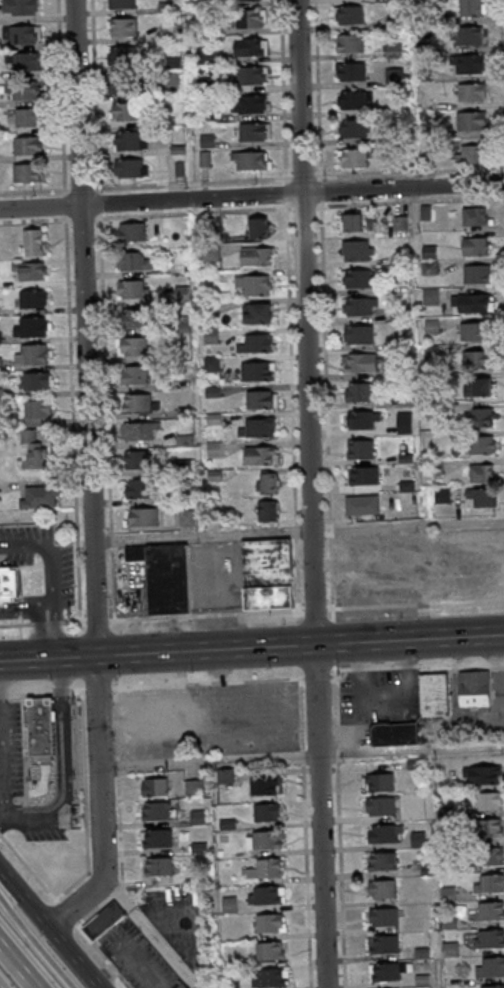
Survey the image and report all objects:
building: (248, 0)
building: (121, 4)
building: (20, 7)
building: (472, 8)
building: (350, 15)
building: (250, 18)
building: (122, 27)
building: (22, 34)
building: (470, 35)
road: (502, 39)
building: (350, 44)
building: (250, 47)
building: (394, 51)
building: (206, 55)
building: (124, 56)
building: (25, 61)
building: (470, 64)
building: (350, 72)
building: (252, 75)
building: (127, 84)
building: (22, 90)
road: (317, 90)
road: (282, 92)
building: (472, 92)
road: (96, 96)
road: (59, 98)
building: (354, 100)
building: (250, 104)
building: (126, 111)
building: (28, 117)
building: (472, 121)
building: (352, 128)
building: (253, 131)
building: (130, 141)
building: (29, 145)
building: (471, 154)
building: (355, 157)
building: (251, 160)
building: (133, 168)
road: (409, 172)
building: (28, 173)
road: (192, 183)
road: (34, 192)
road: (251, 196)
road: (461, 198)
road: (361, 203)
road: (193, 212)
building: (475, 216)
road: (34, 219)
building: (352, 222)
building: (259, 227)
building: (132, 233)
building: (32, 242)
building: (476, 246)
building: (358, 251)
building: (257, 256)
building: (133, 262)
building: (31, 270)
building: (182, 270)
building: (477, 274)
building: (357, 279)
building: (255, 285)
building: (133, 290)
building: (33, 299)
building: (473, 302)
building: (361, 307)
building: (258, 313)
building: (134, 318)
building: (31, 327)
building: (474, 331)
building: (359, 335)
building: (211, 336)
building: (258, 343)
building: (133, 347)
building: (32, 354)
building: (479, 359)
building: (360, 363)
building: (212, 368)
building: (259, 371)
building: (136, 375)
building: (181, 380)
building: (35, 381)
building: (481, 386)
building: (361, 391)
building: (262, 399)
building: (141, 403)
road: (326, 410)
building: (38, 411)
road: (292, 411)
building: (185, 412)
road: (107, 416)
road: (72, 417)
building: (483, 417)
building: (364, 419)
building: (258, 428)
building: (140, 431)
building: (185, 440)
building: (481, 444)
building: (214, 449)
building: (361, 449)
building: (34, 450)
building: (261, 455)
building: (137, 461)
building: (182, 467)
building: (481, 473)
road: (90, 474)
building: (363, 476)
building: (268, 483)
building: (140, 490)
road: (310, 494)
building: (41, 497)
building: (482, 497)
building: (365, 505)
building: (268, 511)
building: (144, 516)
building: (186, 518)
road: (298, 530)
parking lot: (35, 573)
building: (268, 574)
building: (165, 576)
road: (54, 582)
building: (18, 583)
road: (23, 611)
road: (251, 612)
road: (409, 640)
road: (156, 652)
building: (474, 689)
building: (434, 694)
parking lot: (207, 720)
building: (41, 730)
building: (395, 734)
road: (300, 757)
road: (2, 769)
road: (65, 769)
building: (482, 774)
building: (227, 776)
building: (380, 782)
building: (264, 786)
building: (155, 787)
building: (195, 787)
building: (489, 801)
building: (380, 806)
building: (155, 812)
building: (267, 812)
building: (197, 817)
building: (491, 828)
building: (385, 834)
building: (157, 839)
building: (418, 839)
building: (264, 841)
building: (492, 856)
building: (382, 861)
building: (159, 867)
building: (266, 870)
building: (490, 884)
building: (382, 889)
building: (267, 896)
building: (229, 905)
building: (490, 910)
building: (384, 917)
building: (104, 920)
building: (270, 924)
road: (50, 930)
road: (148, 930)
building: (488, 939)
road: (35, 945)
building: (384, 945)
building: (450, 949)
building: (271, 952)
building: (491, 967)
building: (387, 972)
road: (11, 974)
building: (270, 979)
building: (184, 986)
building: (492, 986)

